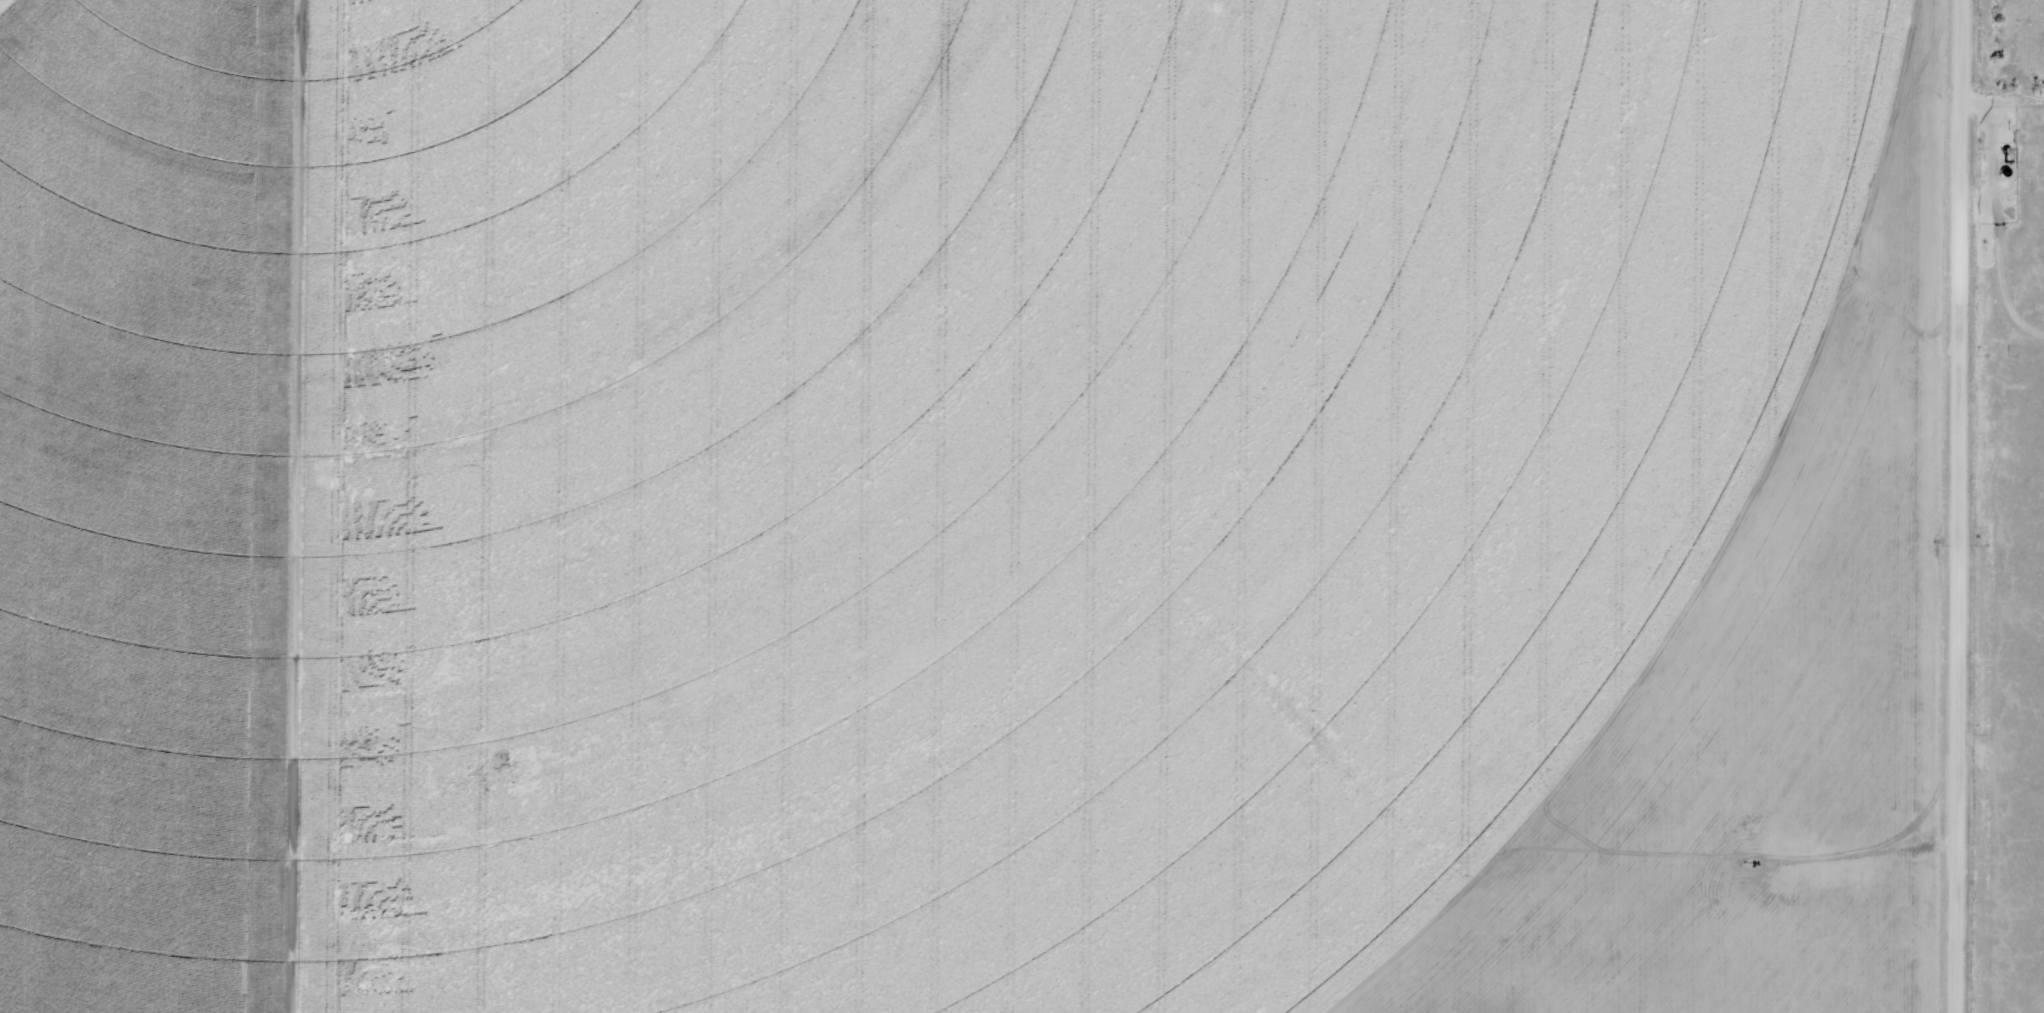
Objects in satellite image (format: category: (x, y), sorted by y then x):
road: (1963, 506)

